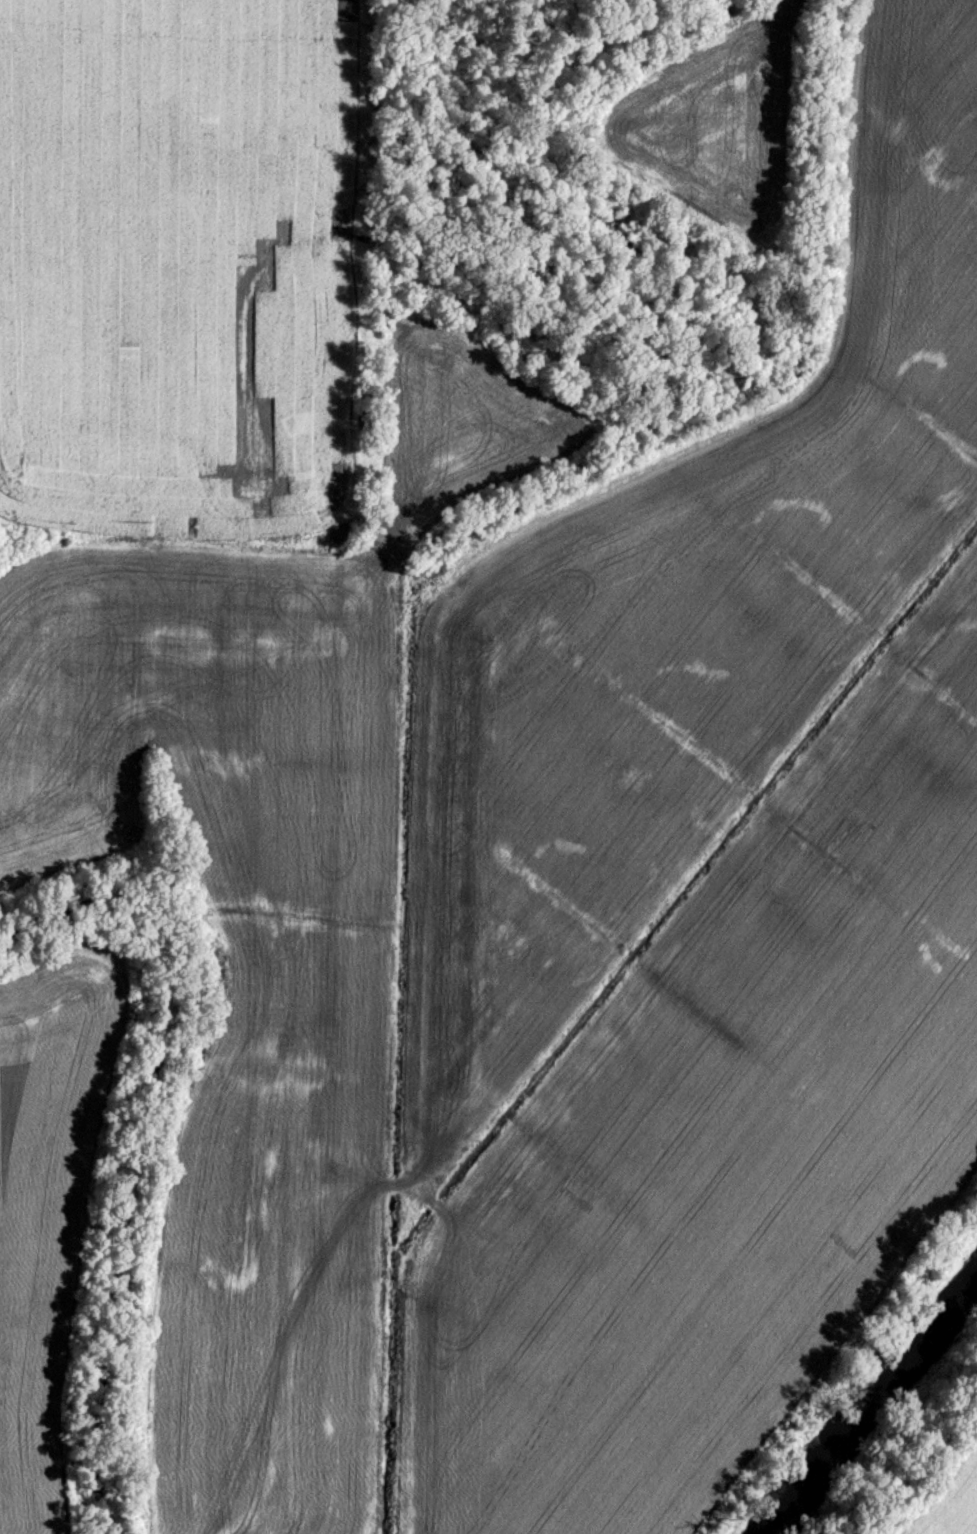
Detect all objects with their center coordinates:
river: (884, 1415)

